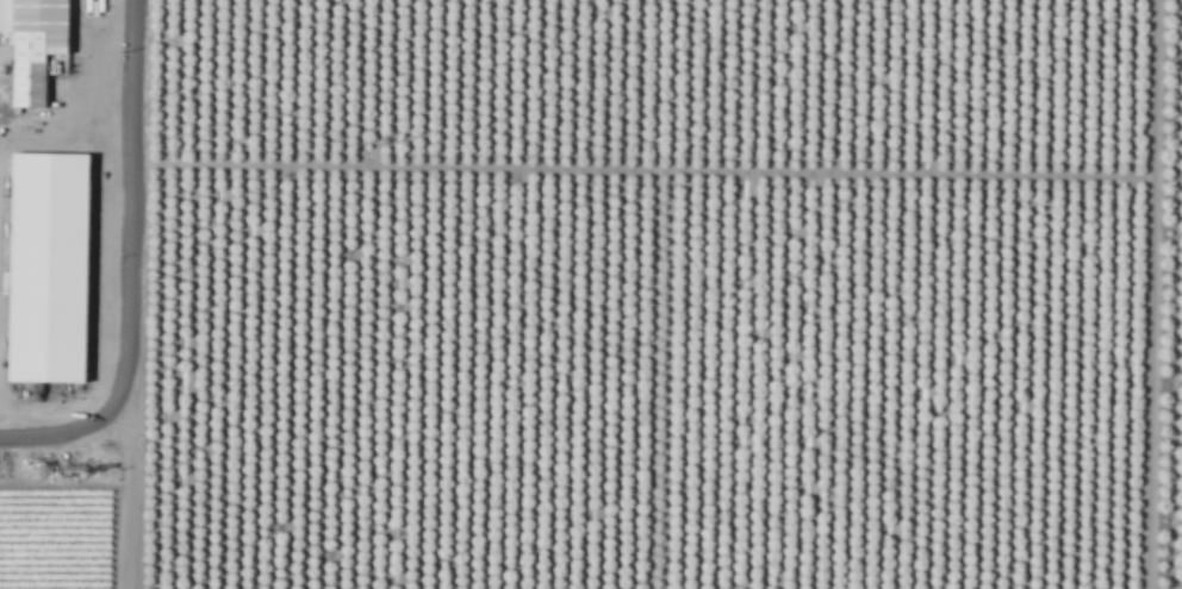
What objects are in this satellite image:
building: (36, 43)
road: (133, 237)
building: (70, 259)
crop: (57, 290)
crop: (648, 294)
road: (67, 434)
road: (131, 532)

